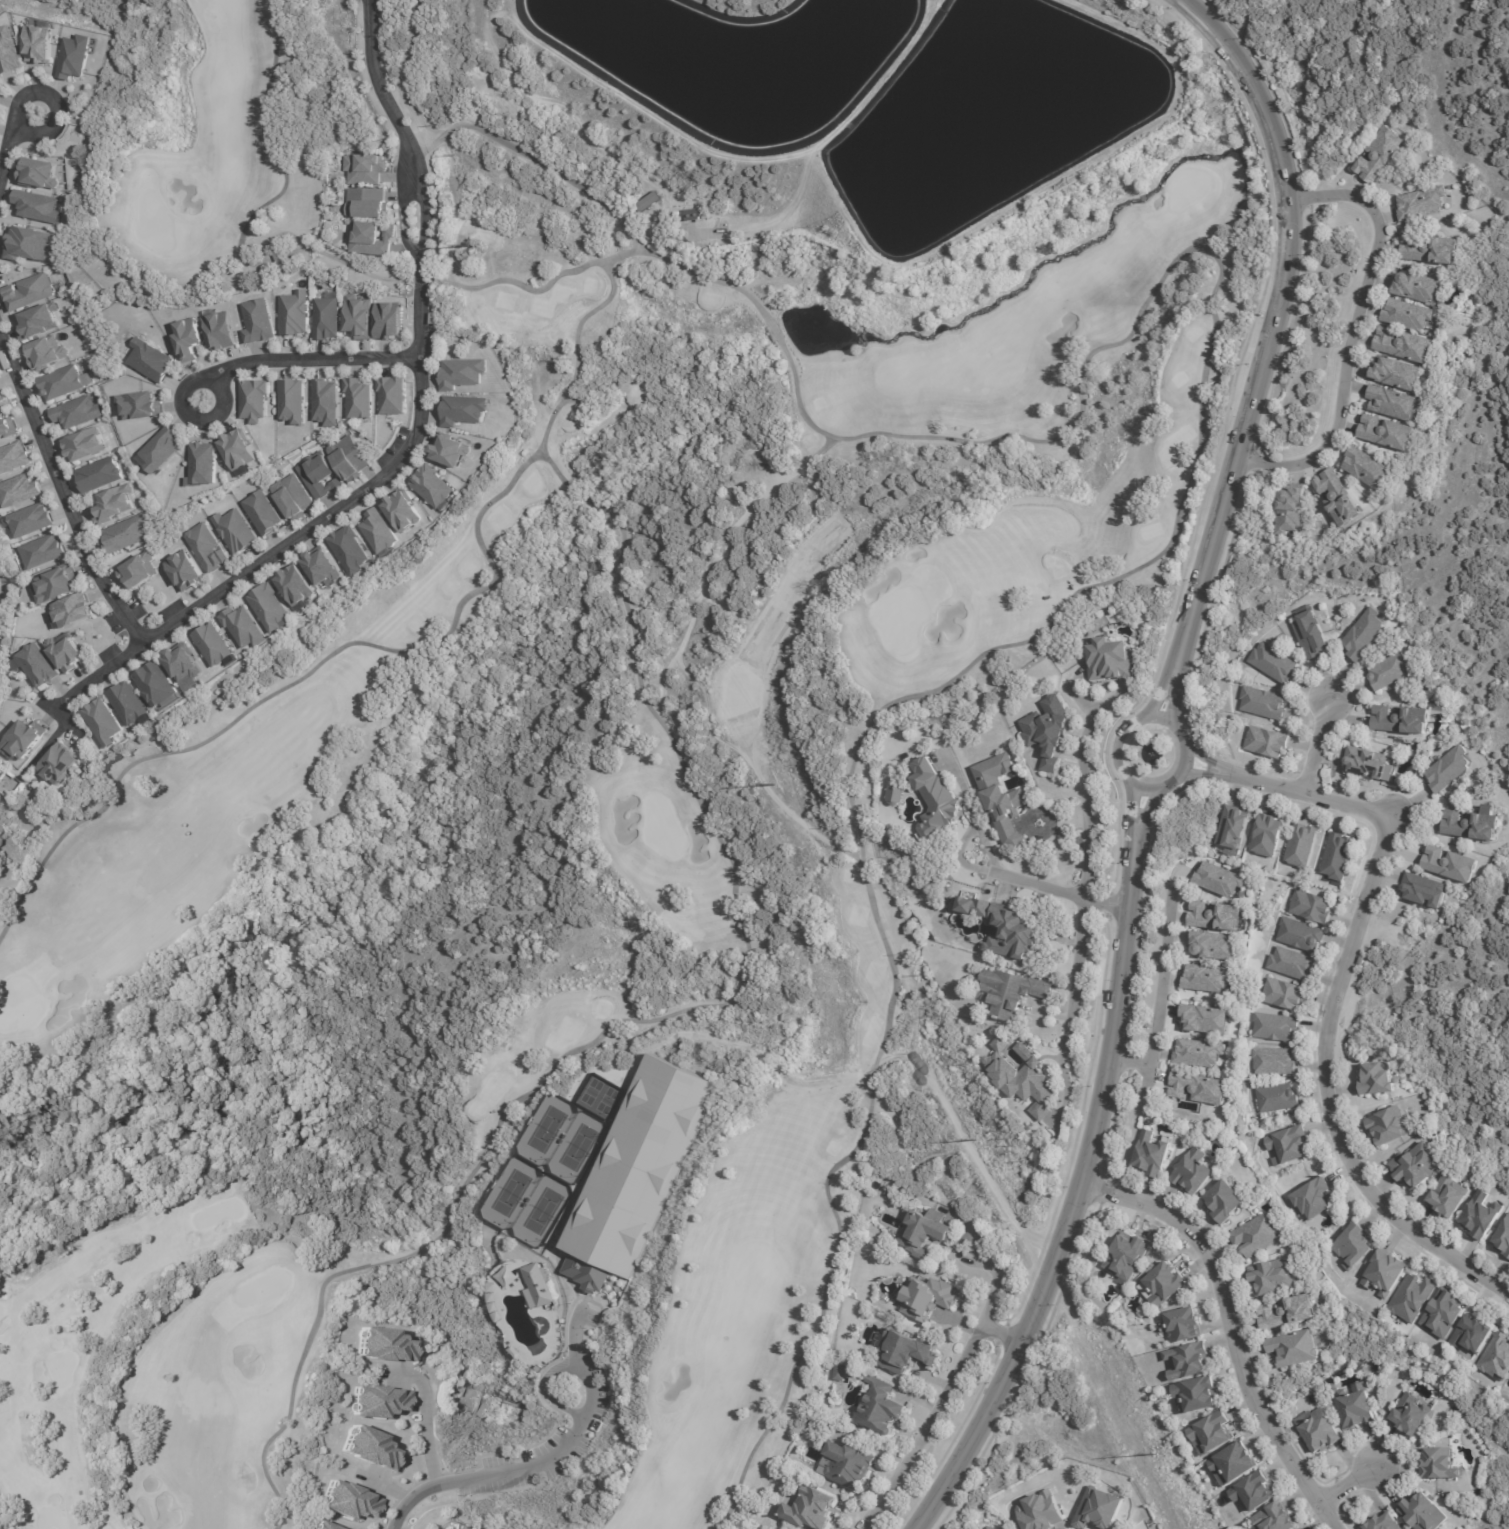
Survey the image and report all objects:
building: (39, 43)
building: (8, 51)
building: (74, 57)
building: (0, 91)
road: (9, 141)
road: (524, 154)
building: (1379, 155)
building: (364, 169)
building: (36, 172)
building: (365, 203)
building: (647, 203)
building: (1422, 204)
building: (35, 206)
building: (694, 214)
building: (369, 239)
building: (28, 243)
power tower: (470, 250)
building: (1430, 250)
building: (281, 261)
building: (1416, 287)
building: (28, 292)
building: (293, 314)
building: (1408, 315)
building: (356, 318)
building: (325, 319)
building: (386, 321)
building: (36, 322)
building: (255, 323)
road: (1351, 330)
building: (217, 331)
building: (186, 339)
road: (1265, 342)
building: (1403, 345)
building: (46, 352)
road: (302, 358)
building: (148, 361)
building: (460, 374)
building: (1395, 375)
building: (58, 384)
building: (390, 396)
building: (1, 398)
building: (357, 399)
building: (252, 401)
building: (290, 402)
building: (325, 402)
building: (1391, 403)
building: (137, 407)
building: (462, 411)
building: (75, 412)
building: (6, 427)
building: (1386, 433)
road: (411, 436)
building: (83, 445)
building: (237, 450)
building: (449, 450)
building: (158, 451)
building: (12, 457)
building: (347, 459)
building: (201, 465)
building: (1366, 469)
building: (98, 475)
building: (317, 476)
building: (430, 486)
building: (18, 490)
road: (60, 494)
building: (291, 498)
building: (1338, 499)
building: (111, 504)
building: (401, 511)
building: (1291, 513)
building: (261, 514)
building: (30, 520)
building: (234, 532)
building: (377, 532)
building: (126, 533)
building: (205, 548)
building: (348, 551)
building: (39, 552)
building: (320, 566)
building: (138, 570)
building: (183, 571)
building: (52, 584)
building: (292, 587)
park: (6, 608)
building: (266, 609)
building: (70, 611)
building: (240, 629)
building: (1364, 633)
building: (1311, 634)
building: (211, 646)
building: (65, 652)
building: (1109, 658)
building: (1273, 662)
building: (182, 667)
building: (1389, 671)
building: (48, 679)
building: (154, 684)
building: (1263, 702)
building: (127, 706)
building: (1401, 718)
building: (101, 723)
building: (1047, 729)
building: (22, 737)
road: (48, 740)
building: (1266, 741)
road: (1315, 745)
road: (1190, 749)
building: (56, 762)
building: (1366, 763)
building: (1449, 769)
power tower: (772, 785)
road: (1083, 790)
building: (894, 792)
building: (1001, 795)
building: (934, 799)
park: (578, 816)
building: (1472, 824)
building: (1233, 827)
building: (1267, 835)
building: (1302, 845)
road: (986, 847)
building: (1337, 856)
building: (1450, 863)
road: (986, 870)
building: (1220, 879)
building: (1424, 890)
building: (1311, 906)
building: (1218, 915)
building: (1015, 930)
building: (1300, 934)
building: (1213, 945)
building: (1291, 964)
road: (1078, 972)
building: (1207, 978)
road: (1158, 989)
road: (1338, 989)
building: (1011, 992)
building: (1283, 994)
building: (1204, 1019)
building: (1275, 1027)
building: (1198, 1053)
building: (1273, 1062)
building: (1377, 1079)
building: (1024, 1080)
road: (1143, 1084)
building: (1197, 1088)
building: (1277, 1098)
building: (1387, 1126)
park: (548, 1128)
power tower: (974, 1140)
building: (1289, 1145)
park: (579, 1147)
building: (1152, 1155)
building: (642, 1164)
building: (1416, 1166)
building: (1193, 1173)
road: (1082, 1176)
park: (511, 1192)
building: (1448, 1197)
building: (1313, 1200)
building: (1224, 1202)
park: (543, 1210)
building: (1482, 1216)
building: (924, 1235)
building: (1259, 1236)
building: (1503, 1239)
building: (1353, 1247)
building: (1126, 1258)
road: (995, 1274)
building: (1385, 1274)
building: (1275, 1278)
building: (538, 1283)
building: (1165, 1285)
building: (1413, 1298)
building: (926, 1299)
building: (1288, 1313)
building: (1443, 1314)
building: (1183, 1325)
road: (1228, 1328)
road: (1003, 1336)
building: (1472, 1337)
building: (383, 1344)
building: (1295, 1349)
building: (904, 1354)
building: (1496, 1358)
building: (1188, 1362)
building: (840, 1373)
building: (1508, 1382)
building: (1197, 1395)
building: (379, 1401)
building: (1271, 1401)
building: (1357, 1408)
building: (879, 1412)
building: (1411, 1417)
road: (425, 1418)
road: (930, 1430)
building: (1321, 1433)
building: (936, 1434)
building: (1212, 1434)
building: (369, 1448)
power tower: (1151, 1454)
road: (541, 1462)
building: (1235, 1464)
building: (847, 1466)
building: (1440, 1466)
road: (1346, 1487)
building: (1254, 1493)
building: (349, 1500)
building: (810, 1510)
building: (1098, 1510)
building: (1040, 1512)
building: (1423, 1514)
building: (1274, 1519)
building: (1384, 1523)
building: (321, 1526)
building: (451, 1526)
building: (469, 1527)
building: (988, 1528)

